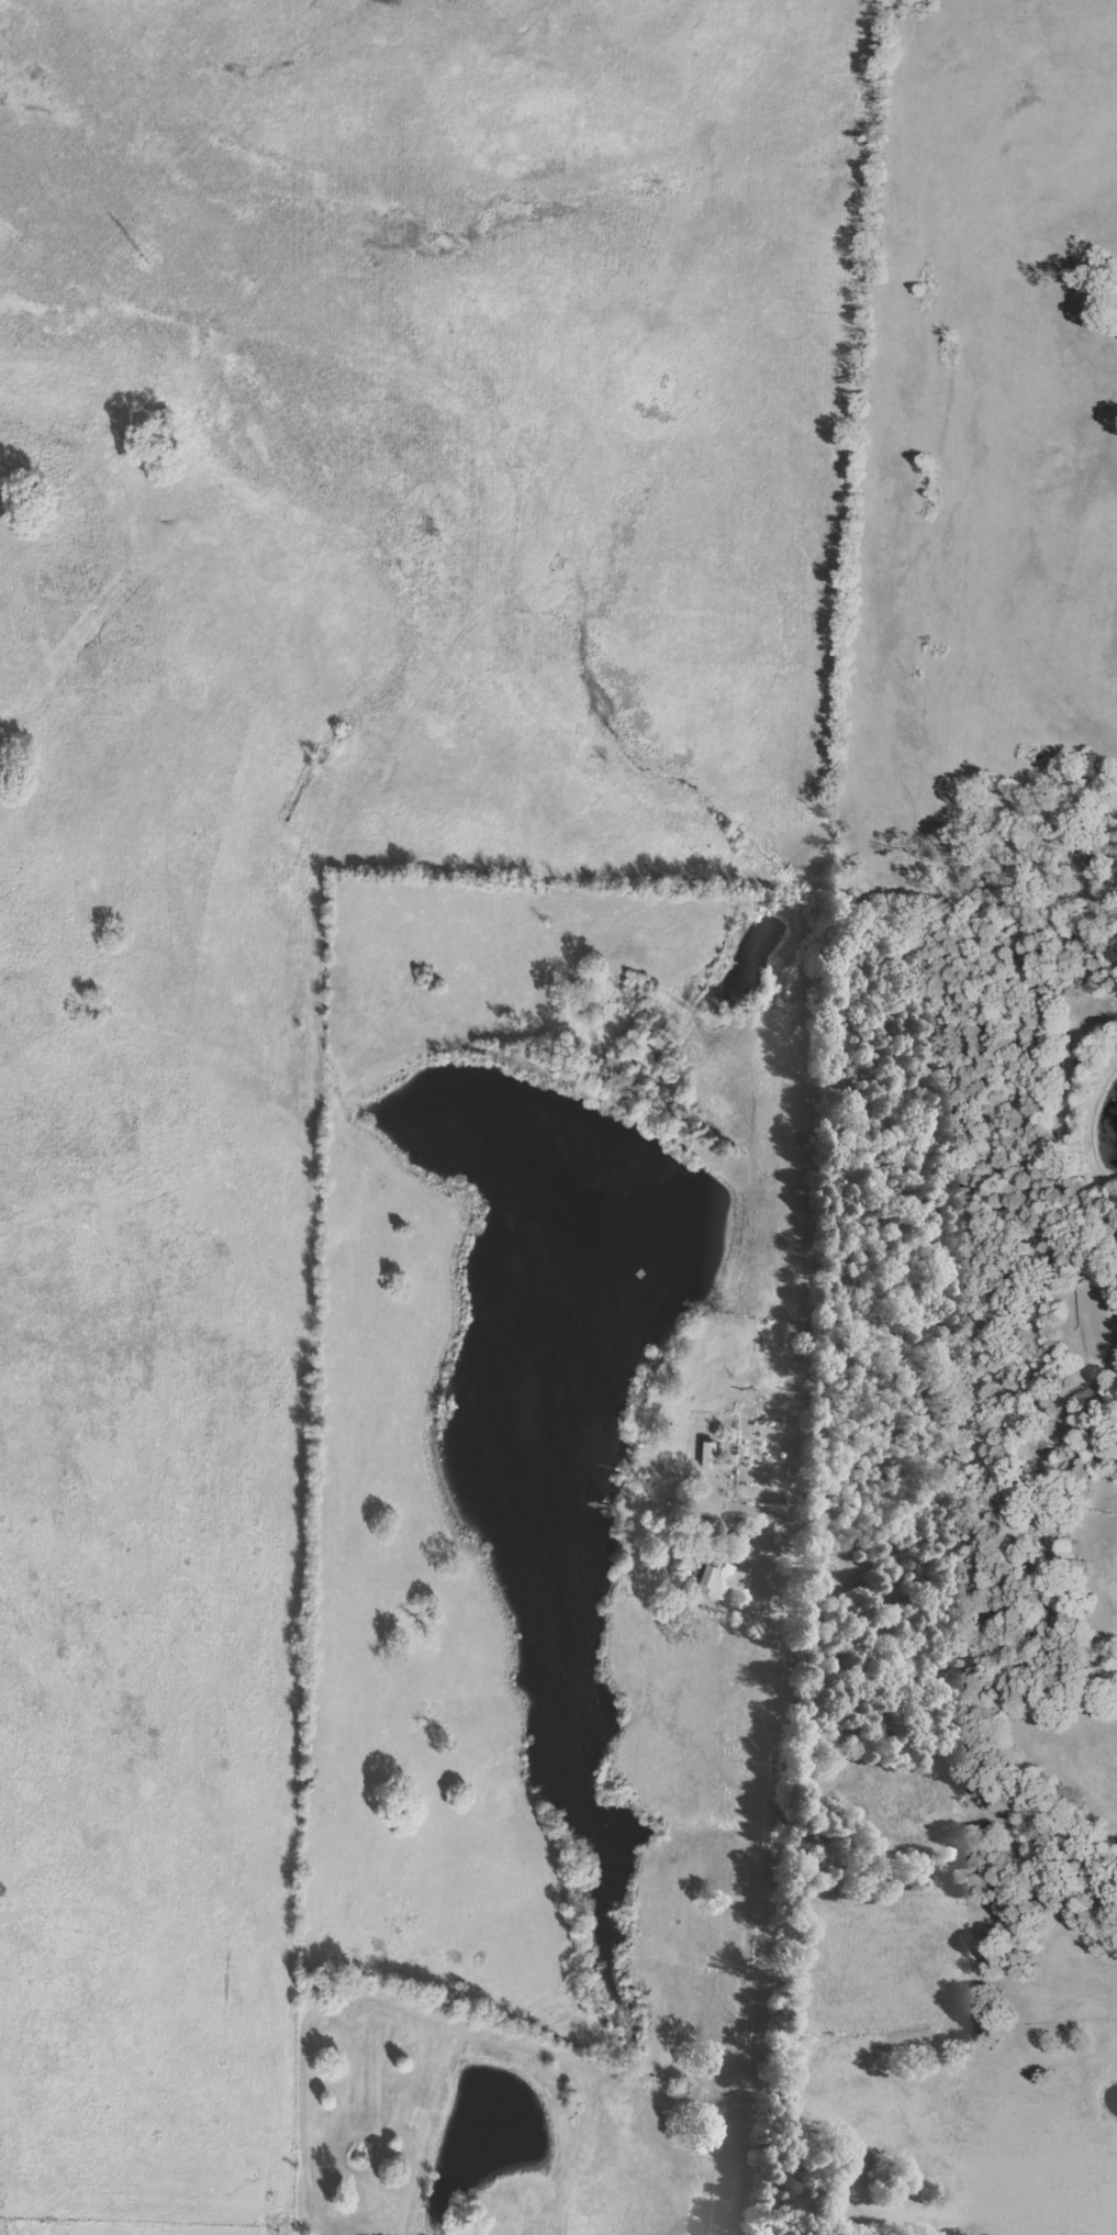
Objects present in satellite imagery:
building: (710, 1457)
building: (714, 1581)
road: (778, 1873)

